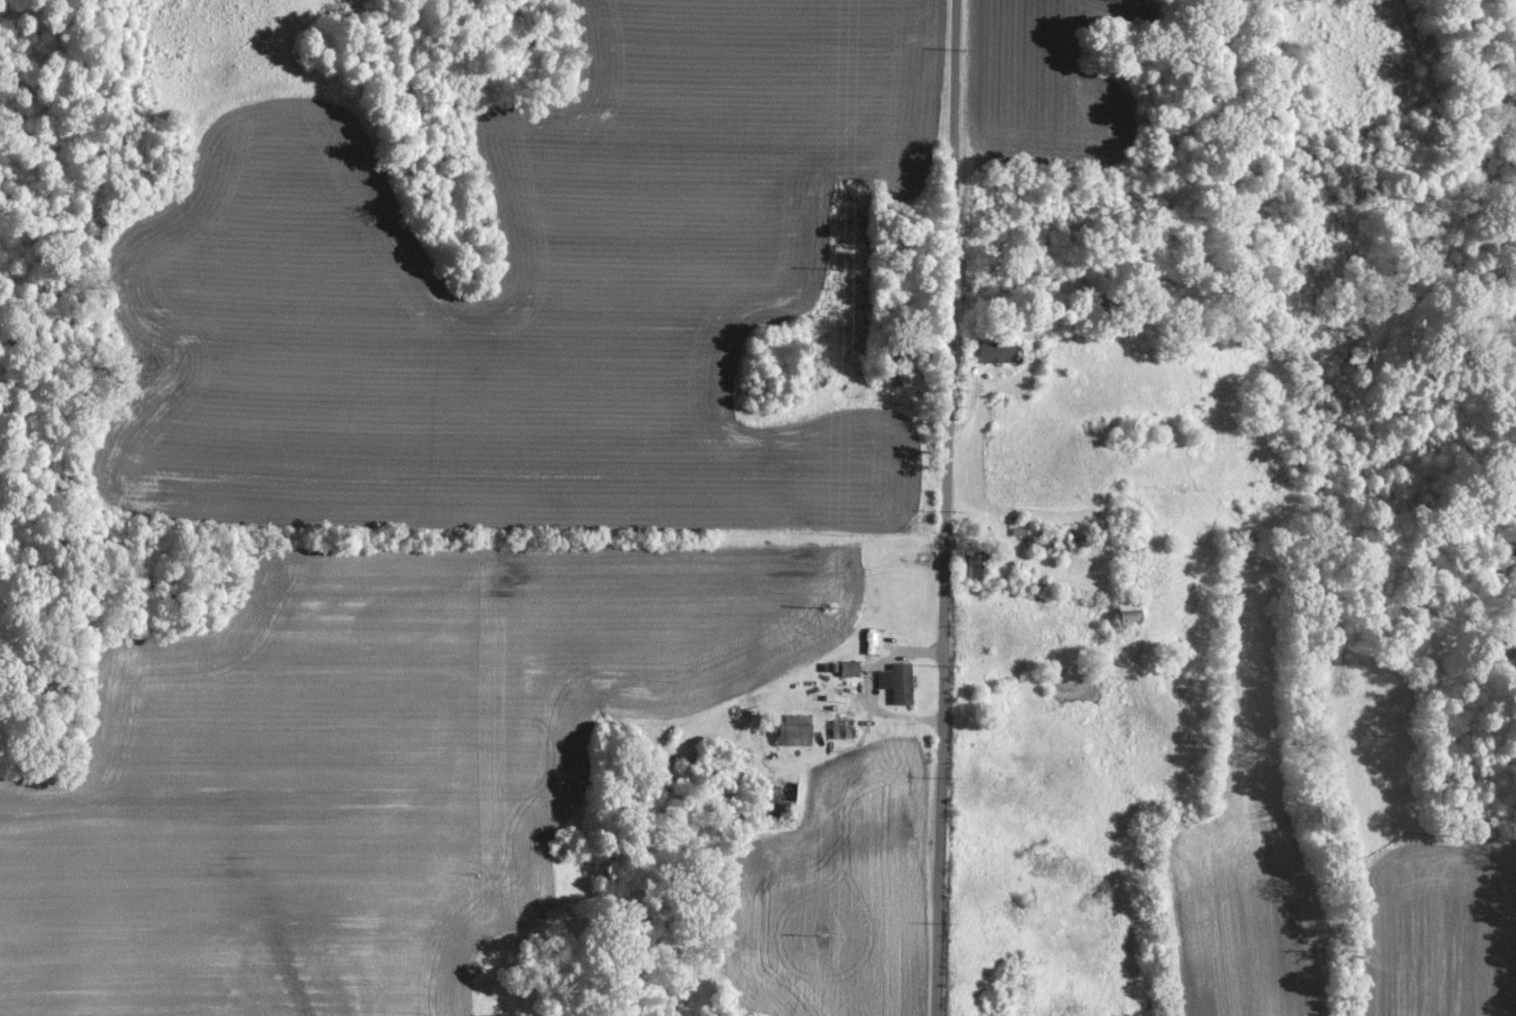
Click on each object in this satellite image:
building: (1001, 351)
road: (944, 507)
building: (899, 681)
building: (797, 729)
building: (785, 791)

